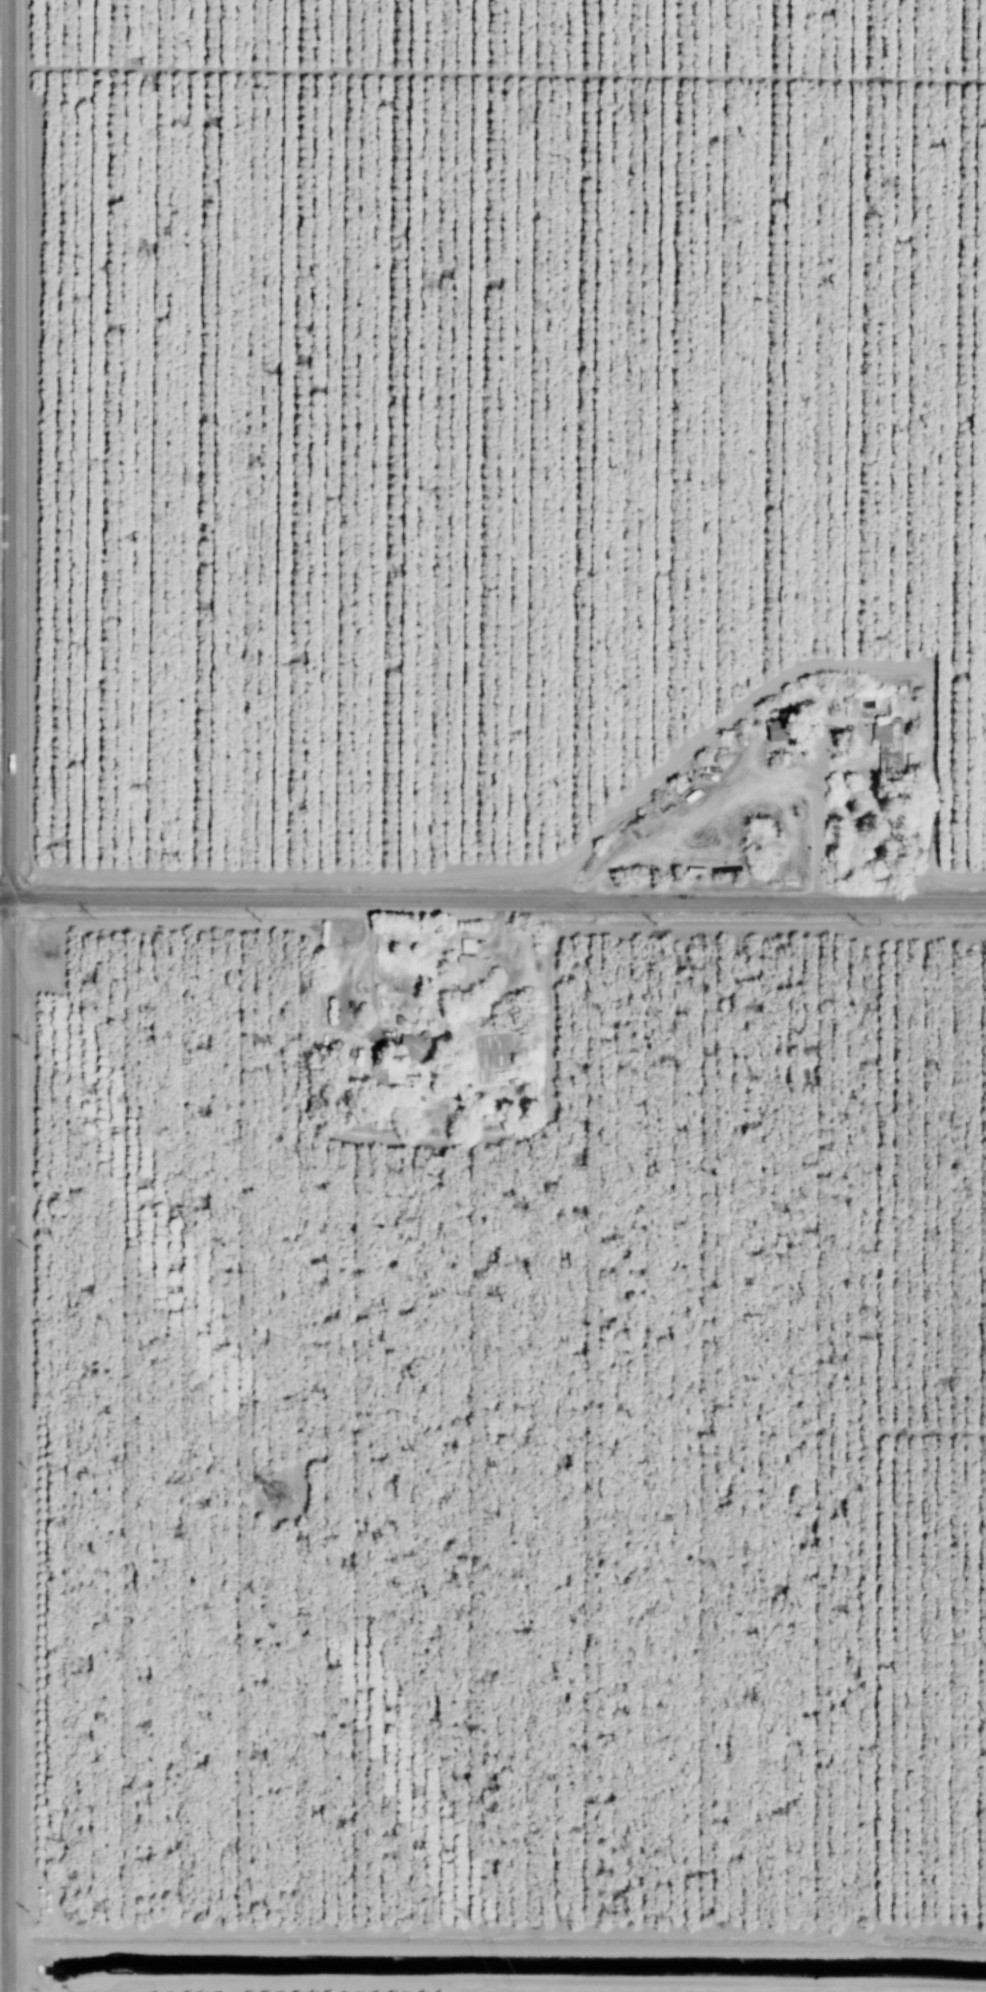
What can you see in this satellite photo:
road: (496, 71)
road: (6, 448)
building: (783, 730)
road: (818, 807)
road: (4, 896)
road: (496, 900)
road: (4, 937)
road: (372, 968)
building: (468, 971)
building: (379, 1055)
road: (7, 1444)
power tower: (285, 1497)
road: (406, 1986)

